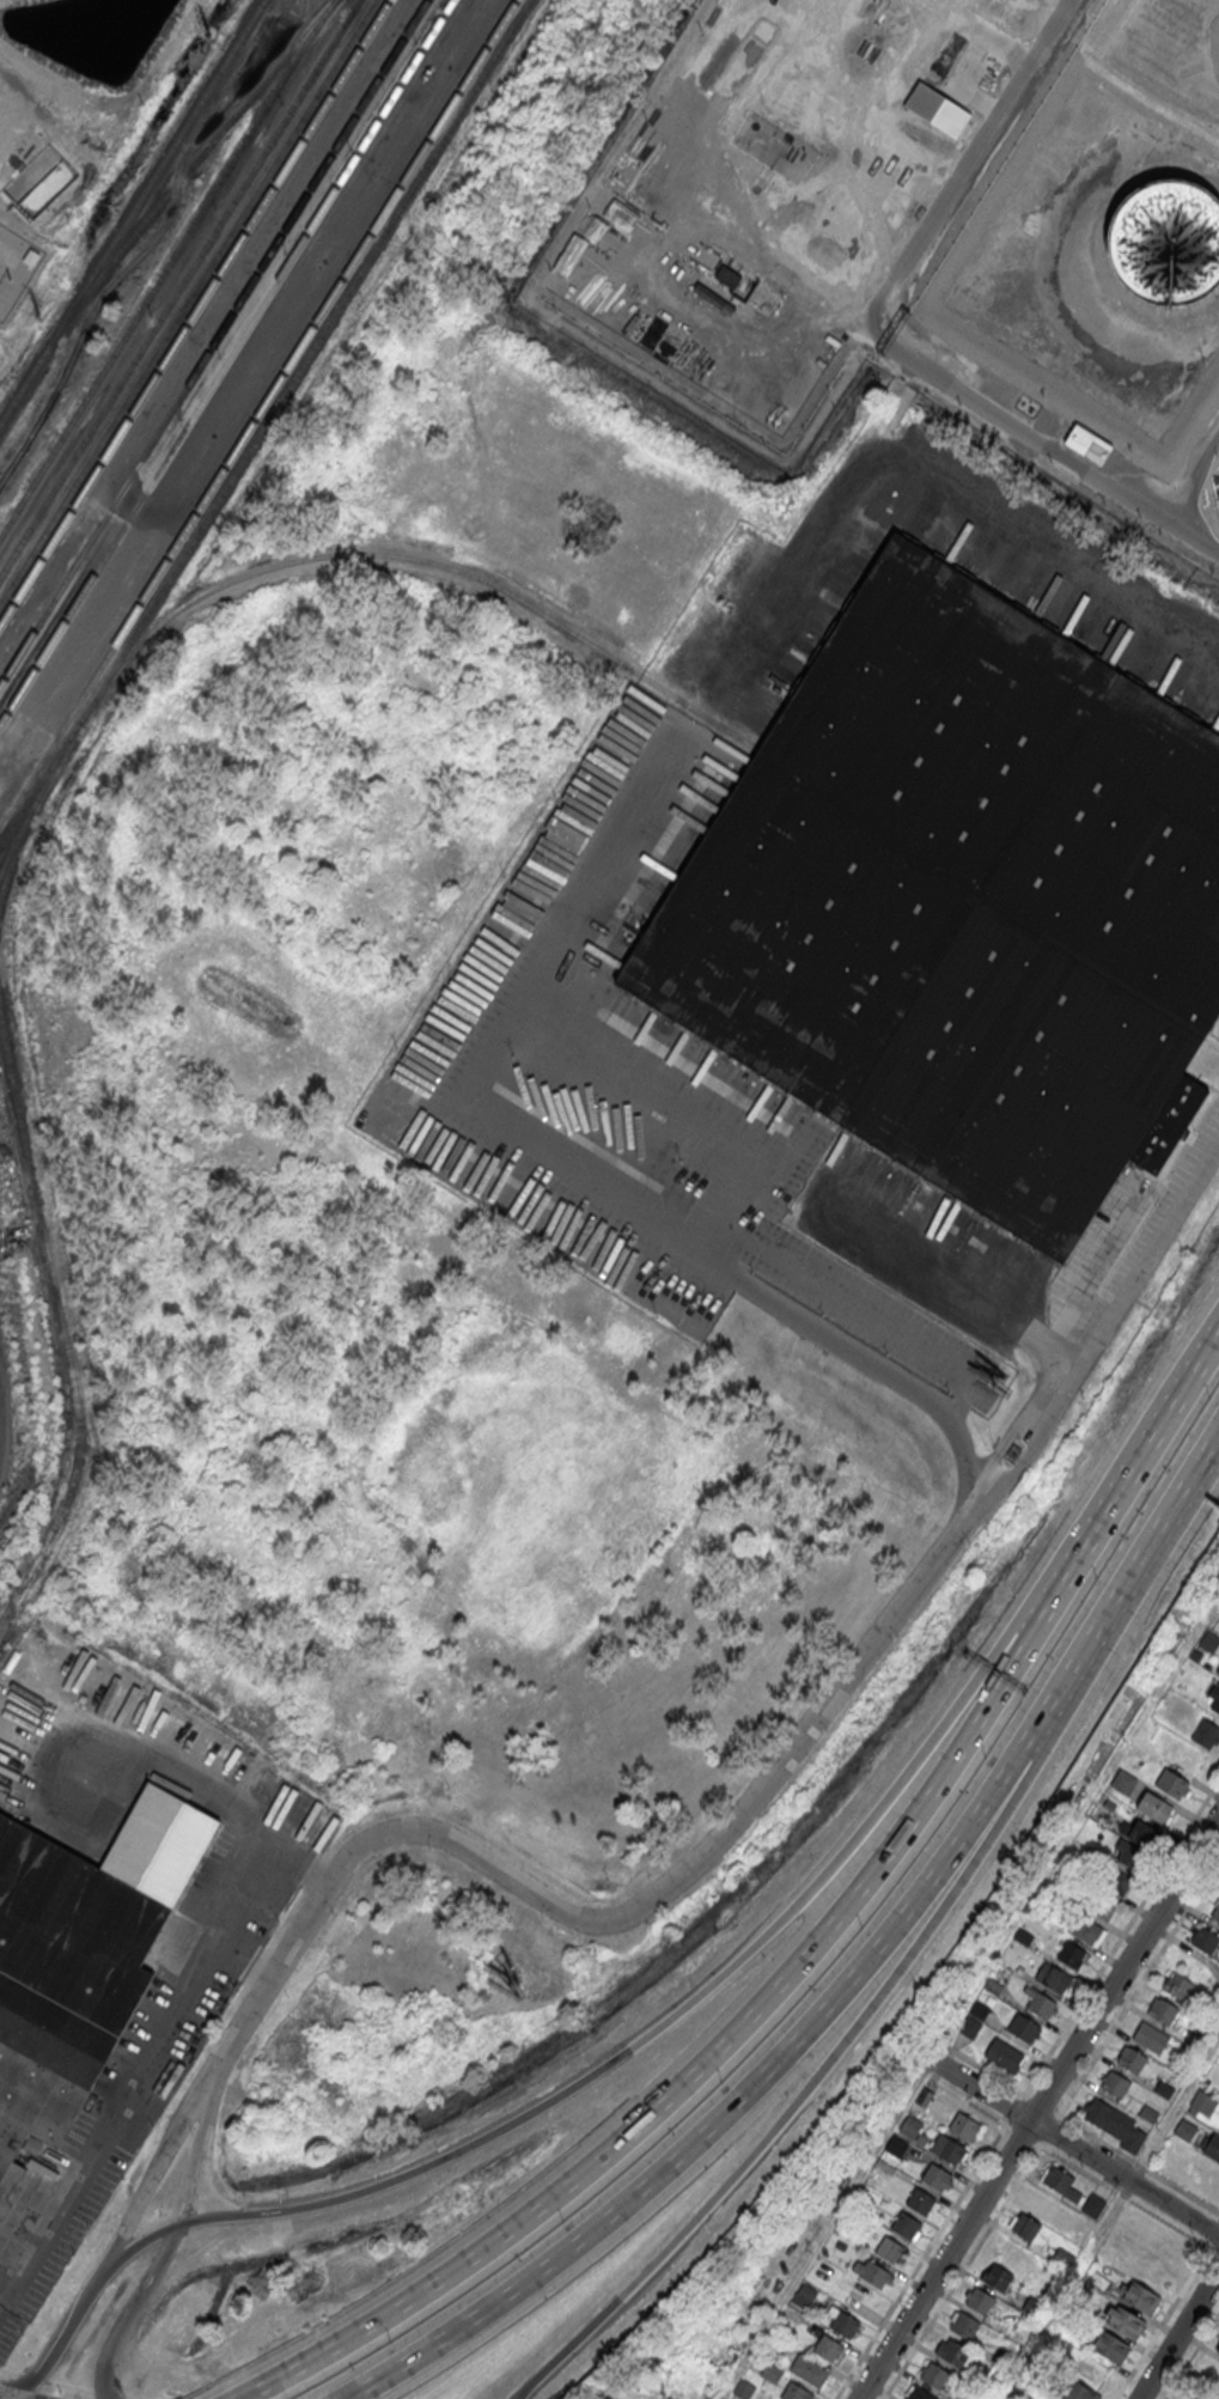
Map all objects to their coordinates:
building: (937, 110)
road: (964, 163)
railway: (189, 168)
railway: (132, 212)
building: (1171, 244)
storage tank: (1171, 244)
railway: (166, 266)
building: (727, 278)
railway: (178, 287)
railway: (188, 302)
railway: (194, 311)
railway: (213, 342)
railway: (225, 363)
road: (721, 403)
railway: (257, 413)
railway: (267, 420)
road: (1054, 444)
building: (1087, 445)
road: (934, 473)
road: (1196, 532)
railway: (413, 559)
railway: (32, 809)
railway: (10, 863)
building: (962, 903)
road: (651, 1106)
road: (585, 1180)
road: (712, 1236)
road: (947, 1280)
road: (1128, 1292)
road: (867, 1313)
railway: (62, 1331)
road: (1005, 1443)
road: (1023, 1460)
road: (1134, 1460)
road: (981, 1497)
road: (1181, 1503)
building: (1209, 1640)
road: (1086, 1657)
building: (1215, 1703)
building: (1206, 1733)
building: (1124, 1780)
building: (1172, 1783)
building: (1153, 1807)
building: (1139, 1832)
building: (1129, 1855)
building: (1113, 1880)
building: (1098, 1904)
building: (1040, 1911)
building: (1215, 1912)
road: (610, 1919)
building: (1081, 1929)
building: (1024, 1936)
building: (1205, 1940)
building: (1071, 1954)
building: (79, 1955)
road: (194, 1973)
building: (1053, 1975)
building: (1177, 1984)
building: (993, 1986)
road: (1130, 1998)
building: (1041, 2003)
building: (980, 2009)
building: (1163, 2010)
building: (969, 2026)
building: (1025, 2027)
road: (650, 2032)
building: (1151, 2035)
building: (1004, 2054)
building: (1132, 2059)
road: (708, 2062)
building: (1115, 2084)
road: (1025, 2088)
building: (1163, 2089)
road: (799, 2094)
building: (924, 2096)
building: (1203, 2102)
road: (1037, 2107)
building: (1150, 2113)
road: (721, 2114)
building: (1115, 2123)
building: (967, 2125)
building: (910, 2127)
building: (1186, 2129)
road: (199, 2143)
building: (898, 2144)
road: (1074, 2144)
building: (1213, 2144)
building: (949, 2148)
road: (158, 2157)
road: (1138, 2163)
building: (883, 2169)
building: (935, 2176)
building: (1060, 2184)
building: (920, 2199)
road: (1129, 2199)
building: (1041, 2204)
building: (1092, 2205)
road: (1108, 2218)
building: (907, 2226)
building: (1024, 2226)
road: (823, 2228)
building: (891, 2248)
building: (1061, 2258)
road: (963, 2269)
building: (871, 2271)
building: (998, 2277)
building: (1139, 2295)
building: (980, 2301)
road: (133, 2307)
building: (1031, 2307)
road: (1166, 2314)
building: (1123, 2320)
building: (843, 2324)
building: (964, 2324)
road: (60, 2331)
building: (1013, 2332)
road: (1178, 2333)
building: (1110, 2345)
building: (829, 2348)
building: (1218, 2351)
building: (953, 2352)
road: (1191, 2355)
building: (1000, 2358)
building: (809, 2369)
building: (770, 2371)
building: (933, 2373)
building: (743, 2388)
road: (618, 2389)
building: (1073, 2389)
building: (793, 2391)
building: (918, 2393)
road: (513, 2397)
road: (514, 2397)
building: (610, 2398)
building: (1052, 2398)

